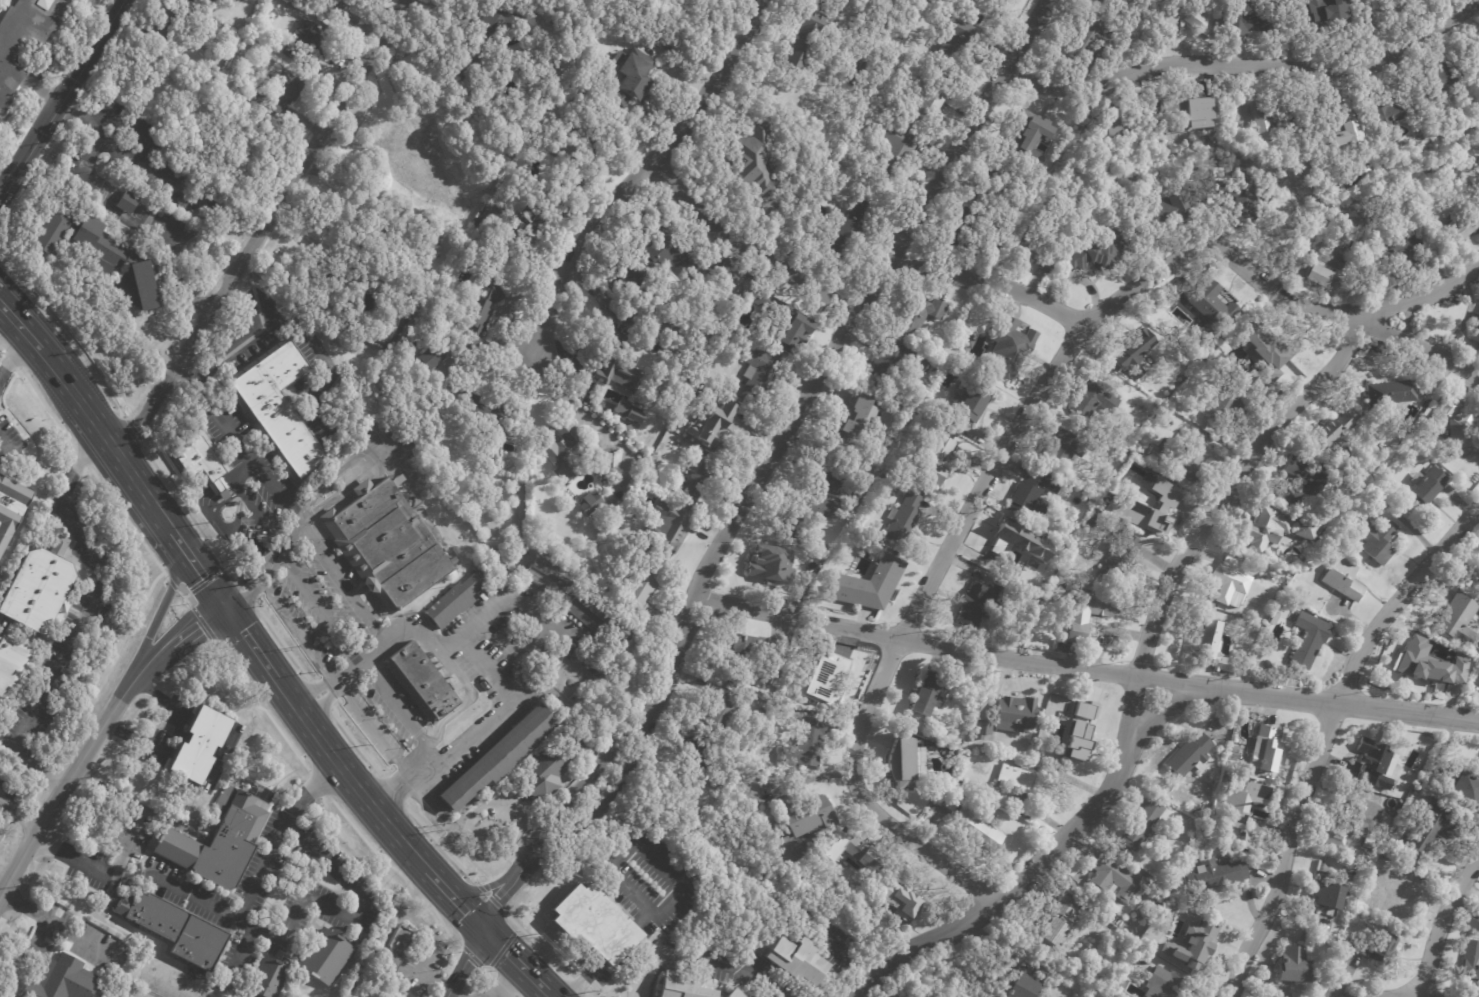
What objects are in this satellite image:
building: (207, 1)
building: (701, 1)
building: (1001, 1)
building: (334, 7)
building: (969, 7)
building: (1377, 10)
building: (1321, 18)
building: (1170, 19)
building: (1247, 19)
building: (172, 20)
building: (506, 21)
building: (1084, 38)
building: (25, 39)
building: (802, 42)
building: (313, 43)
building: (953, 43)
building: (1474, 52)
road: (1246, 65)
building: (469, 70)
building: (627, 77)
building: (1435, 79)
building: (284, 89)
road: (59, 97)
building: (924, 106)
building: (1183, 112)
building: (1383, 114)
building: (1270, 121)
building: (1334, 124)
building: (1105, 129)
building: (1029, 131)
road: (142, 135)
building: (895, 146)
building: (753, 163)
road: (641, 174)
road: (4, 182)
building: (566, 183)
building: (1000, 184)
building: (1242, 193)
building: (130, 203)
building: (1170, 206)
building: (141, 211)
building: (529, 225)
building: (850, 228)
building: (1462, 228)
road: (265, 229)
building: (379, 233)
building: (1031, 234)
building: (961, 235)
building: (432, 248)
building: (1357, 248)
road: (745, 249)
building: (1407, 253)
building: (1093, 254)
building: (103, 257)
building: (657, 261)
building: (1329, 261)
building: (1044, 263)
building: (733, 276)
building: (1316, 278)
road: (995, 284)
road: (1271, 290)
building: (346, 292)
building: (1211, 306)
building: (484, 312)
building: (917, 316)
road: (3, 317)
building: (784, 320)
building: (1475, 334)
road: (61, 337)
road: (34, 343)
building: (728, 345)
road: (238, 346)
road: (1418, 346)
building: (1262, 350)
building: (623, 351)
building: (1005, 351)
building: (440, 352)
building: (1135, 352)
road: (11, 355)
building: (891, 367)
building: (617, 375)
building: (757, 375)
building: (1388, 394)
building: (1092, 399)
building: (969, 401)
road: (81, 402)
building: (908, 405)
building: (1224, 405)
building: (278, 406)
building: (628, 411)
building: (489, 415)
building: (682, 420)
building: (853, 421)
building: (948, 427)
building: (725, 429)
building: (1455, 431)
building: (1333, 433)
building: (1063, 449)
road: (13, 450)
building: (569, 452)
building: (1136, 452)
building: (1182, 456)
building: (934, 459)
building: (200, 460)
building: (606, 461)
road: (365, 463)
road: (764, 467)
building: (887, 470)
building: (827, 473)
road: (133, 477)
road: (242, 478)
building: (700, 478)
building: (1314, 485)
building: (1425, 485)
road: (223, 492)
building: (1034, 494)
building: (589, 503)
building: (9, 504)
building: (1141, 506)
road: (1211, 512)
building: (1349, 512)
road: (261, 516)
building: (804, 516)
building: (901, 520)
building: (675, 526)
building: (1305, 529)
building: (1266, 530)
road: (227, 533)
building: (1373, 538)
building: (1006, 543)
building: (387, 544)
road: (287, 548)
road: (315, 548)
building: (1122, 551)
road: (269, 563)
road: (197, 567)
building: (767, 568)
building: (1254, 569)
building: (547, 573)
traffic signals: (204, 577)
traffic signals: (242, 579)
building: (1343, 579)
building: (1227, 582)
building: (868, 584)
building: (1478, 584)
building: (644, 586)
building: (40, 590)
building: (457, 600)
building: (974, 605)
road: (162, 607)
road: (321, 607)
road: (539, 607)
building: (1088, 612)
road: (87, 614)
building: (1273, 619)
building: (1456, 620)
building: (602, 622)
traffic signals: (197, 624)
road: (901, 629)
traffic signals: (242, 631)
road: (298, 633)
road: (176, 640)
building: (1307, 640)
road: (249, 641)
building: (1211, 646)
road: (944, 647)
building: (748, 648)
building: (1428, 664)
building: (13, 669)
building: (605, 674)
building: (822, 681)
building: (422, 682)
building: (924, 694)
road: (503, 705)
building: (717, 709)
road: (399, 713)
building: (1015, 714)
road: (1149, 720)
building: (1081, 726)
road: (165, 730)
road: (370, 732)
building: (1041, 735)
road: (1330, 737)
road: (6, 740)
building: (203, 740)
building: (806, 741)
building: (1264, 748)
building: (1189, 756)
building: (695, 757)
building: (499, 758)
building: (1368, 759)
building: (559, 764)
building: (903, 767)
building: (1267, 779)
road: (351, 781)
building: (1024, 783)
road: (64, 786)
building: (720, 786)
building: (1461, 786)
parking lot: (7, 790)
building: (949, 802)
building: (1242, 802)
road: (137, 808)
building: (1026, 809)
road: (18, 814)
road: (516, 815)
building: (801, 815)
building: (1141, 825)
building: (976, 826)
road: (463, 828)
building: (1345, 829)
building: (1430, 829)
building: (219, 840)
building: (1247, 842)
building: (1367, 843)
road: (643, 848)
building: (852, 854)
building: (1219, 874)
building: (1111, 879)
parking lot: (646, 887)
building: (1388, 890)
road: (418, 891)
building: (1167, 891)
building: (1324, 894)
traffic signals: (499, 899)
building: (1159, 900)
road: (457, 903)
building: (898, 903)
road: (404, 905)
road: (220, 909)
traffic signals: (467, 913)
road: (347, 914)
building: (1473, 922)
building: (590, 923)
road: (1442, 924)
building: (175, 928)
building: (1051, 934)
building: (1184, 937)
building: (400, 941)
building: (1378, 950)
road: (431, 951)
traffic signals: (506, 952)
building: (749, 954)
road: (607, 955)
building: (327, 957)
traffic signals: (466, 959)
road: (513, 959)
building: (794, 959)
road: (702, 961)
building: (1471, 961)
road: (464, 962)
road: (904, 962)
building: (1291, 967)
building: (271, 977)
road: (501, 980)
road: (875, 980)
building: (64, 981)
building: (1027, 985)
building: (1162, 985)
building: (678, 988)
road: (507, 989)
building: (733, 993)
road: (543, 994)
road: (548, 994)
road: (452, 995)
building: (500, 996)
gas station: (507, 996)
building: (747, 996)
road: (1392, 996)
road: (1404, 996)

